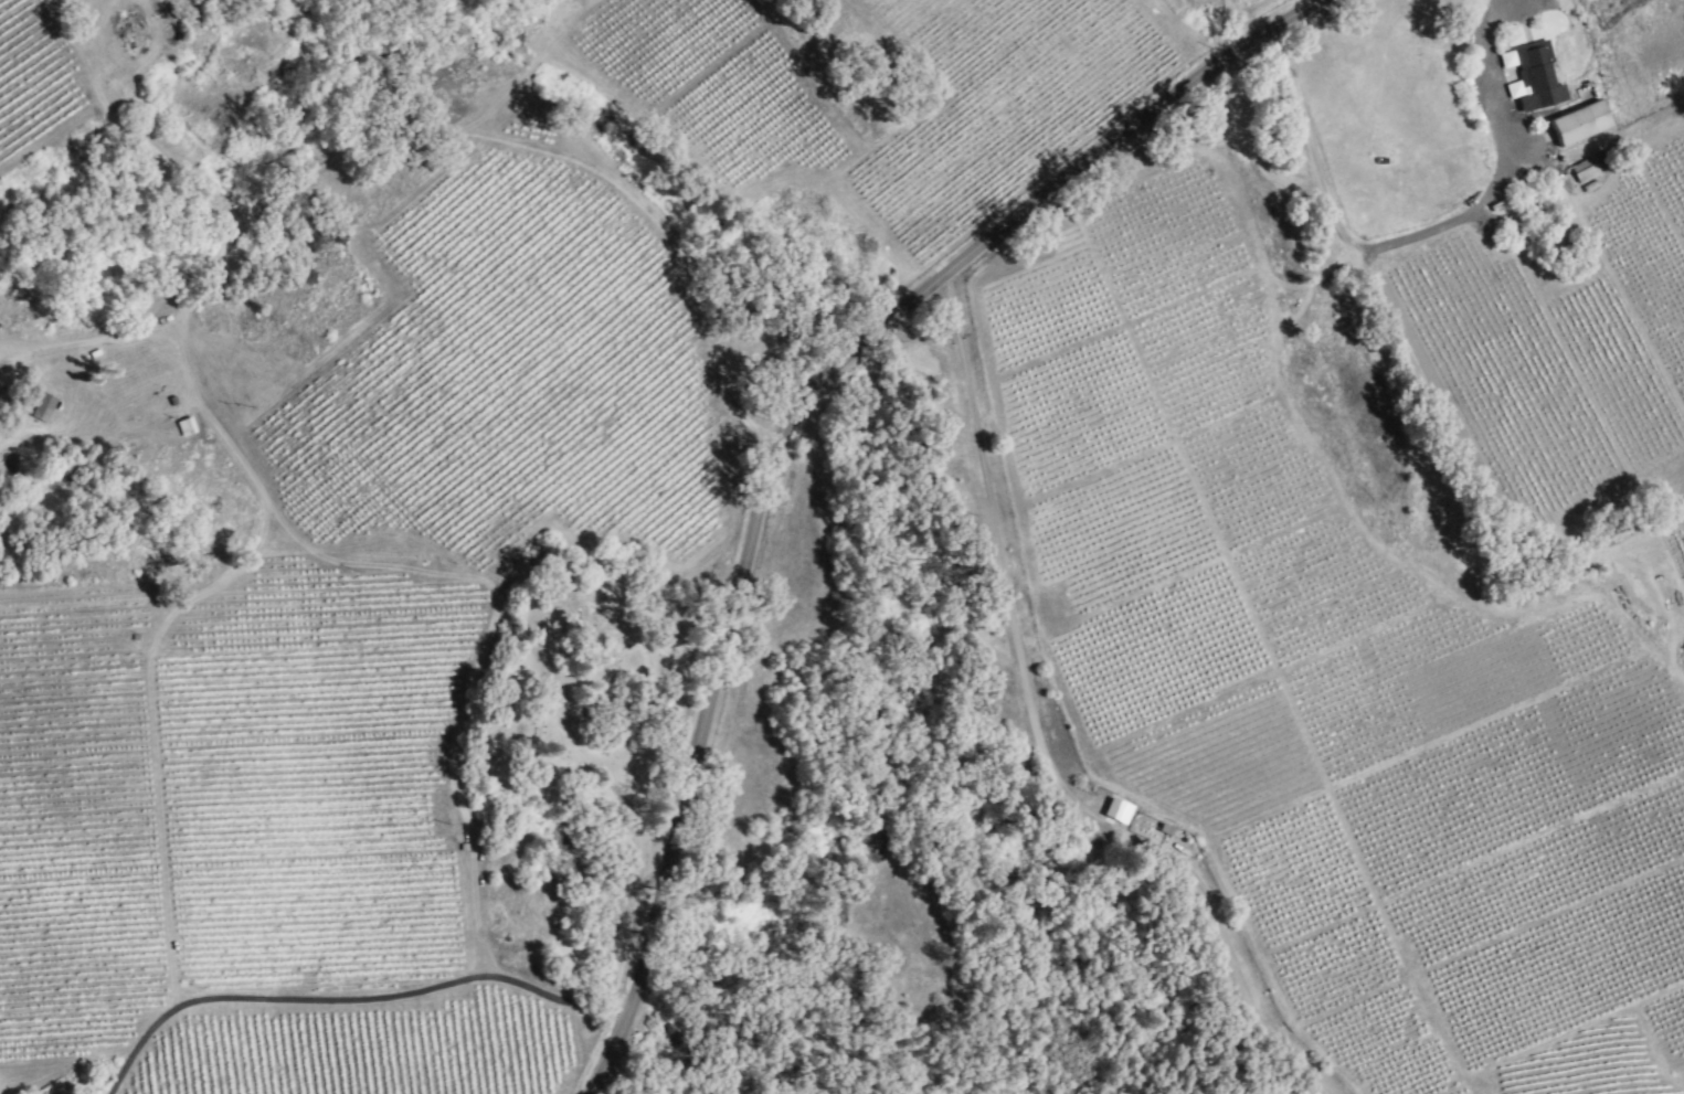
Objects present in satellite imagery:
building: (1529, 76)
building: (1577, 123)
road: (432, 130)
road: (1497, 170)
building: (1584, 171)
road: (1412, 372)
building: (41, 406)
building: (183, 427)
road: (784, 432)
road: (634, 641)
road: (1036, 740)
park: (625, 764)
building: (1115, 811)
road: (345, 1000)

